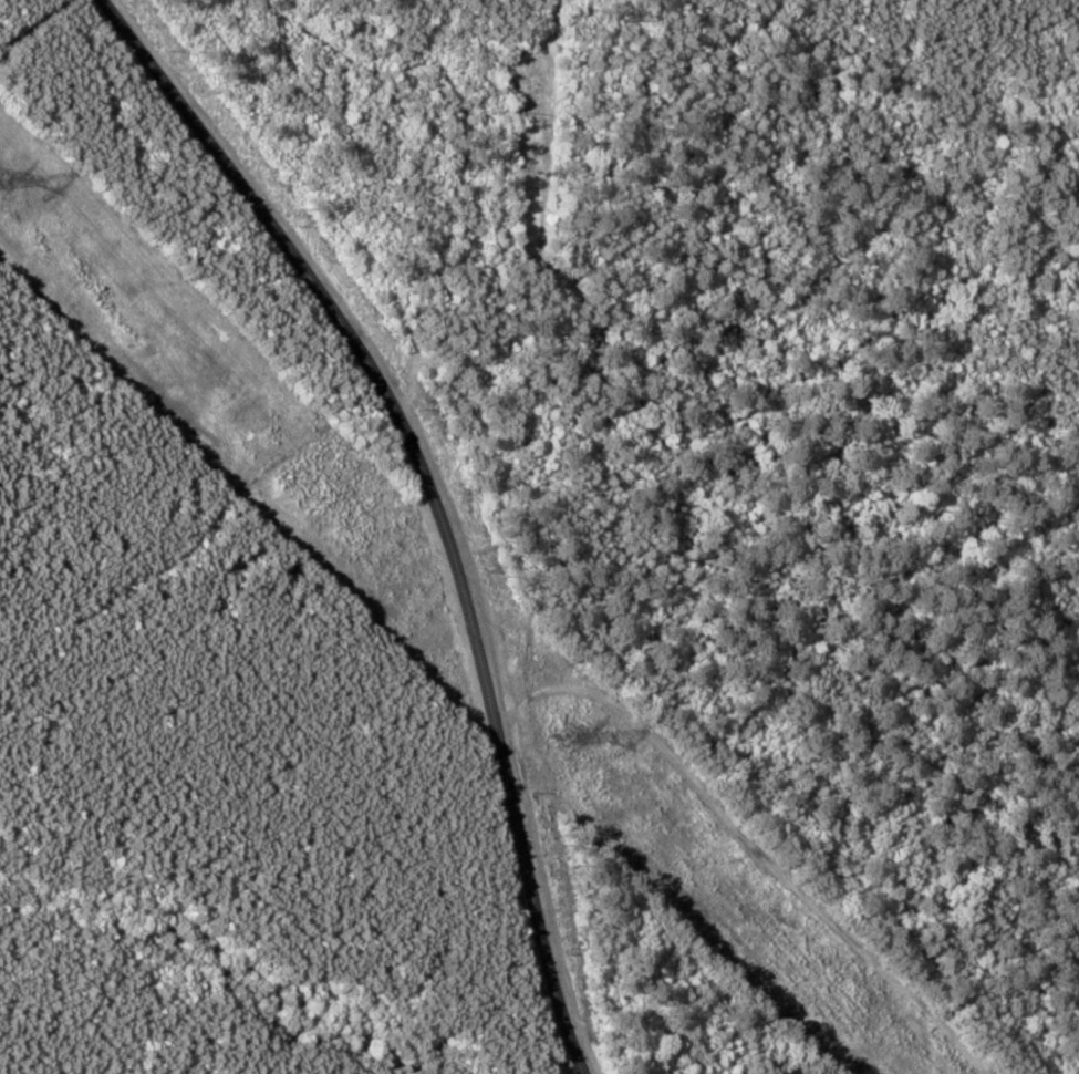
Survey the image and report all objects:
power tower: (7, 186)
road: (402, 500)
power tower: (578, 736)

